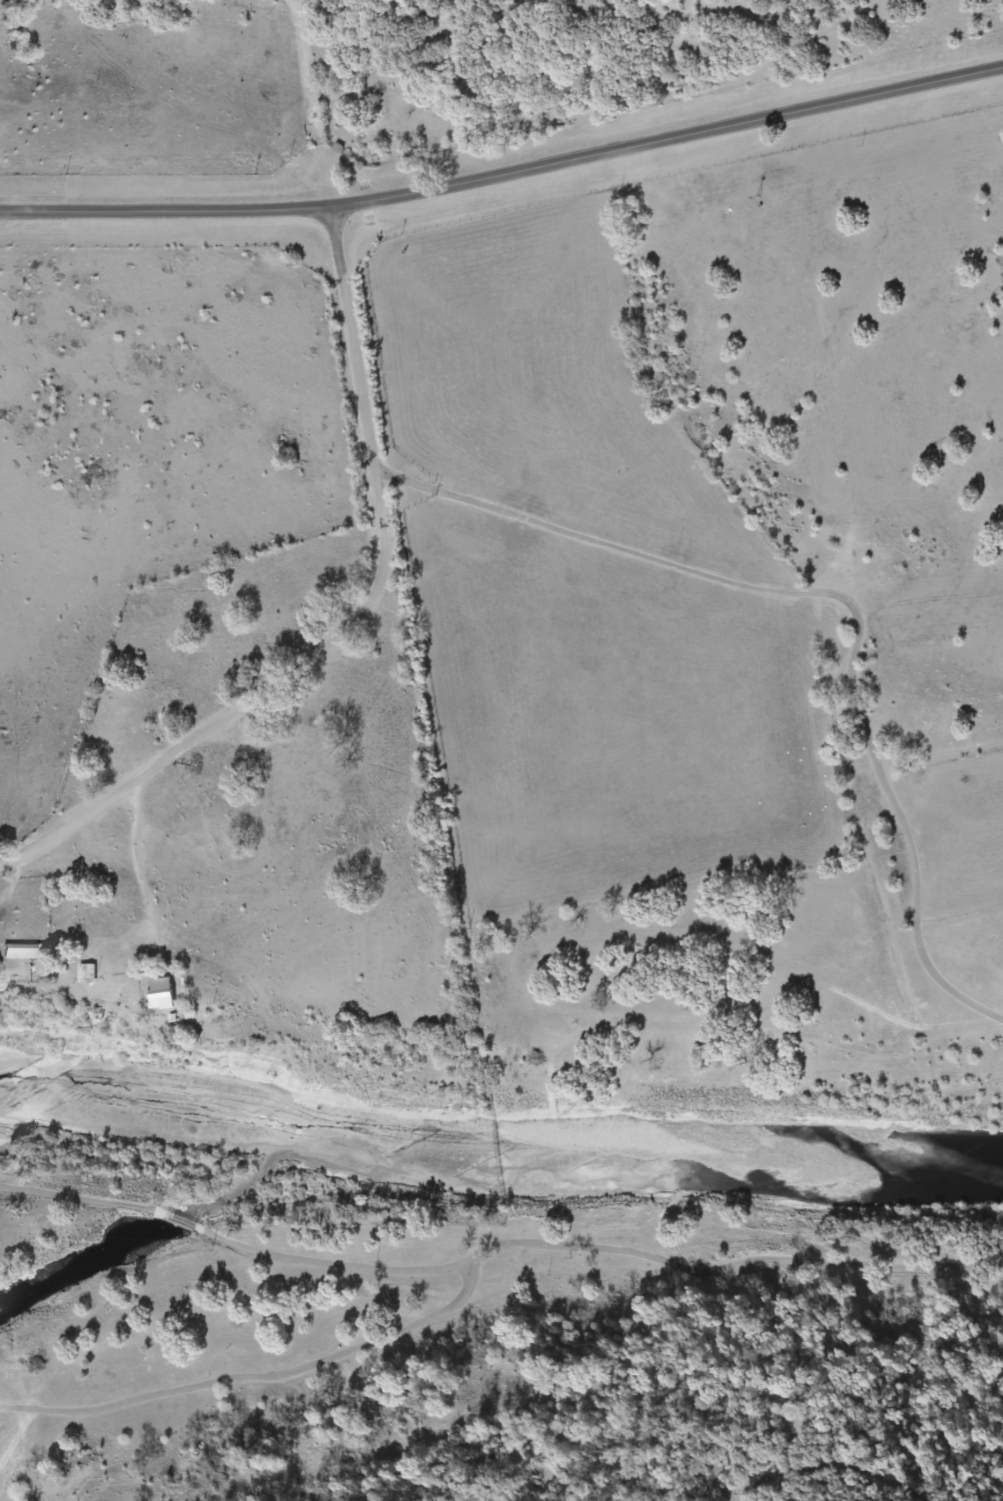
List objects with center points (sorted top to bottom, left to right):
road: (317, 101)
road: (505, 172)
road: (358, 622)
building: (29, 951)
building: (90, 974)
building: (166, 994)
river: (502, 1118)

